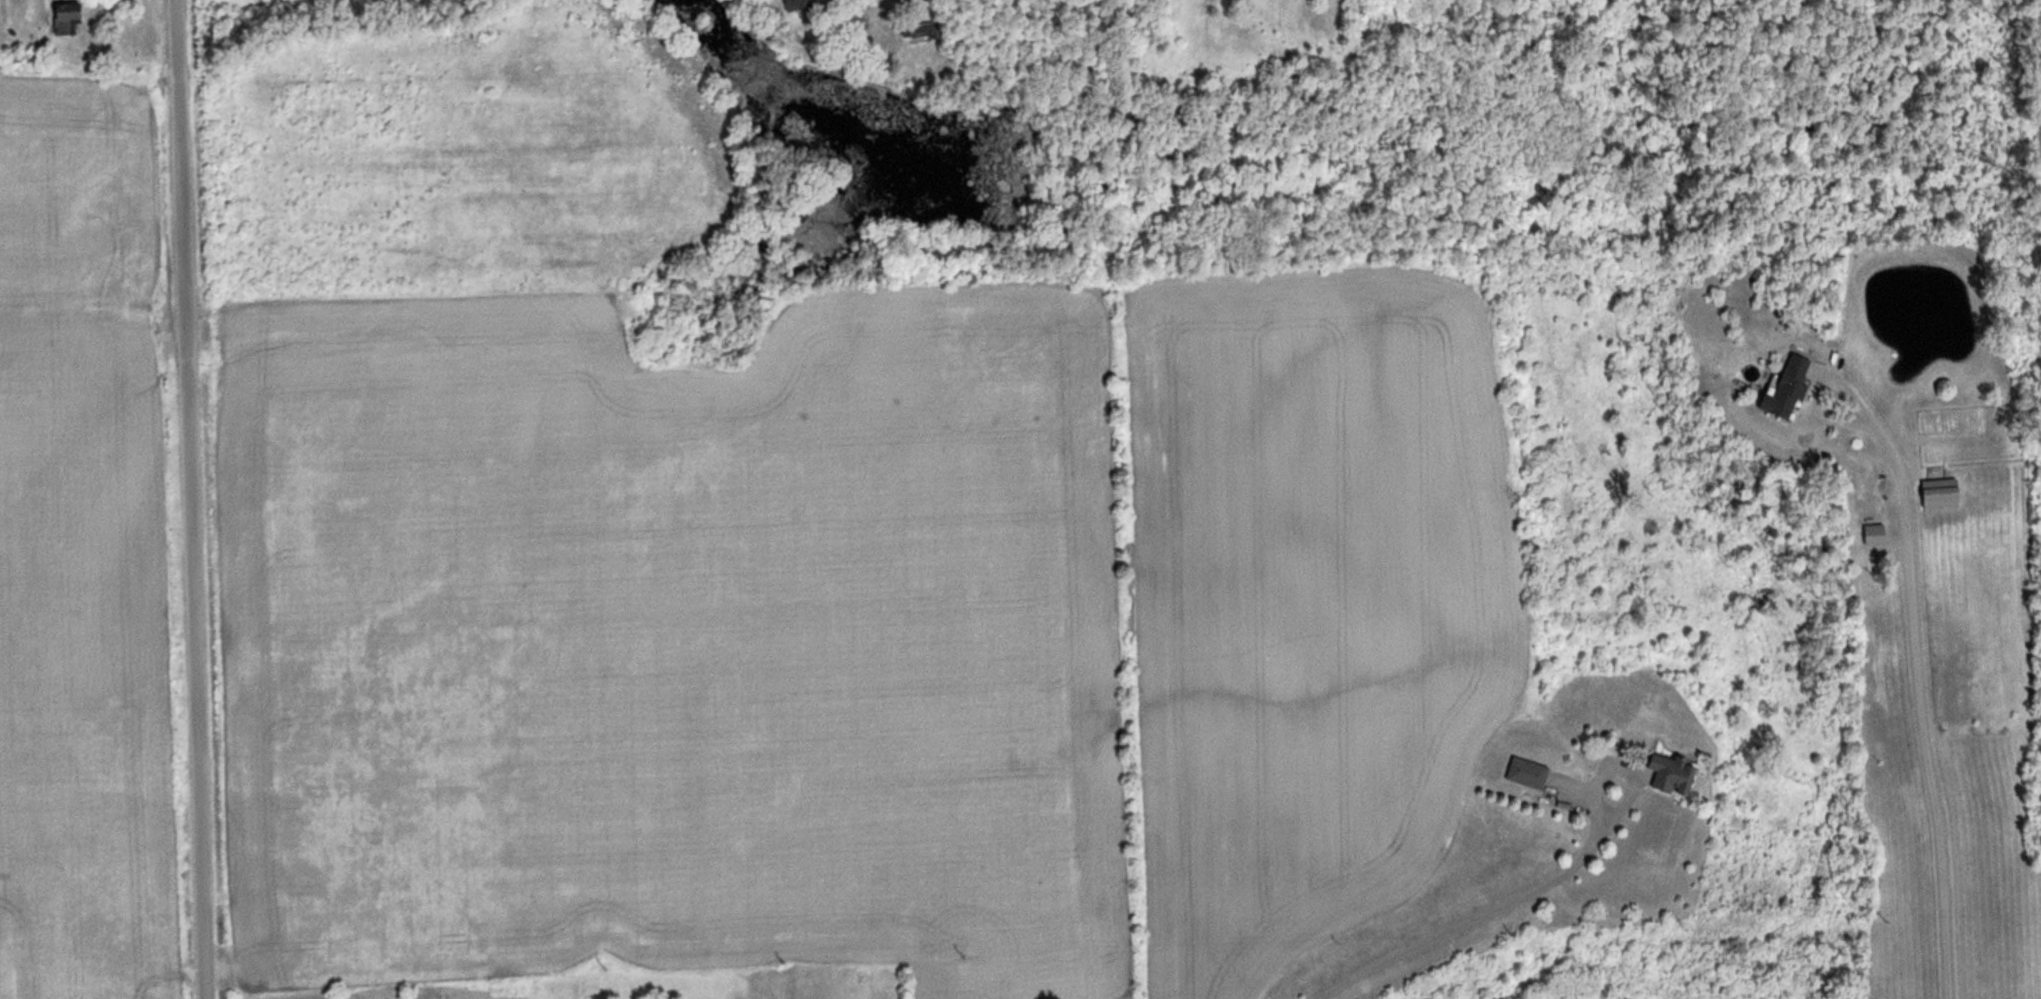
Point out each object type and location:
building: (803, 4)
building: (73, 12)
building: (926, 32)
building: (1790, 389)
building: (1943, 493)
road: (182, 499)
building: (1877, 536)
building: (1890, 576)
building: (1532, 774)
building: (1681, 776)

